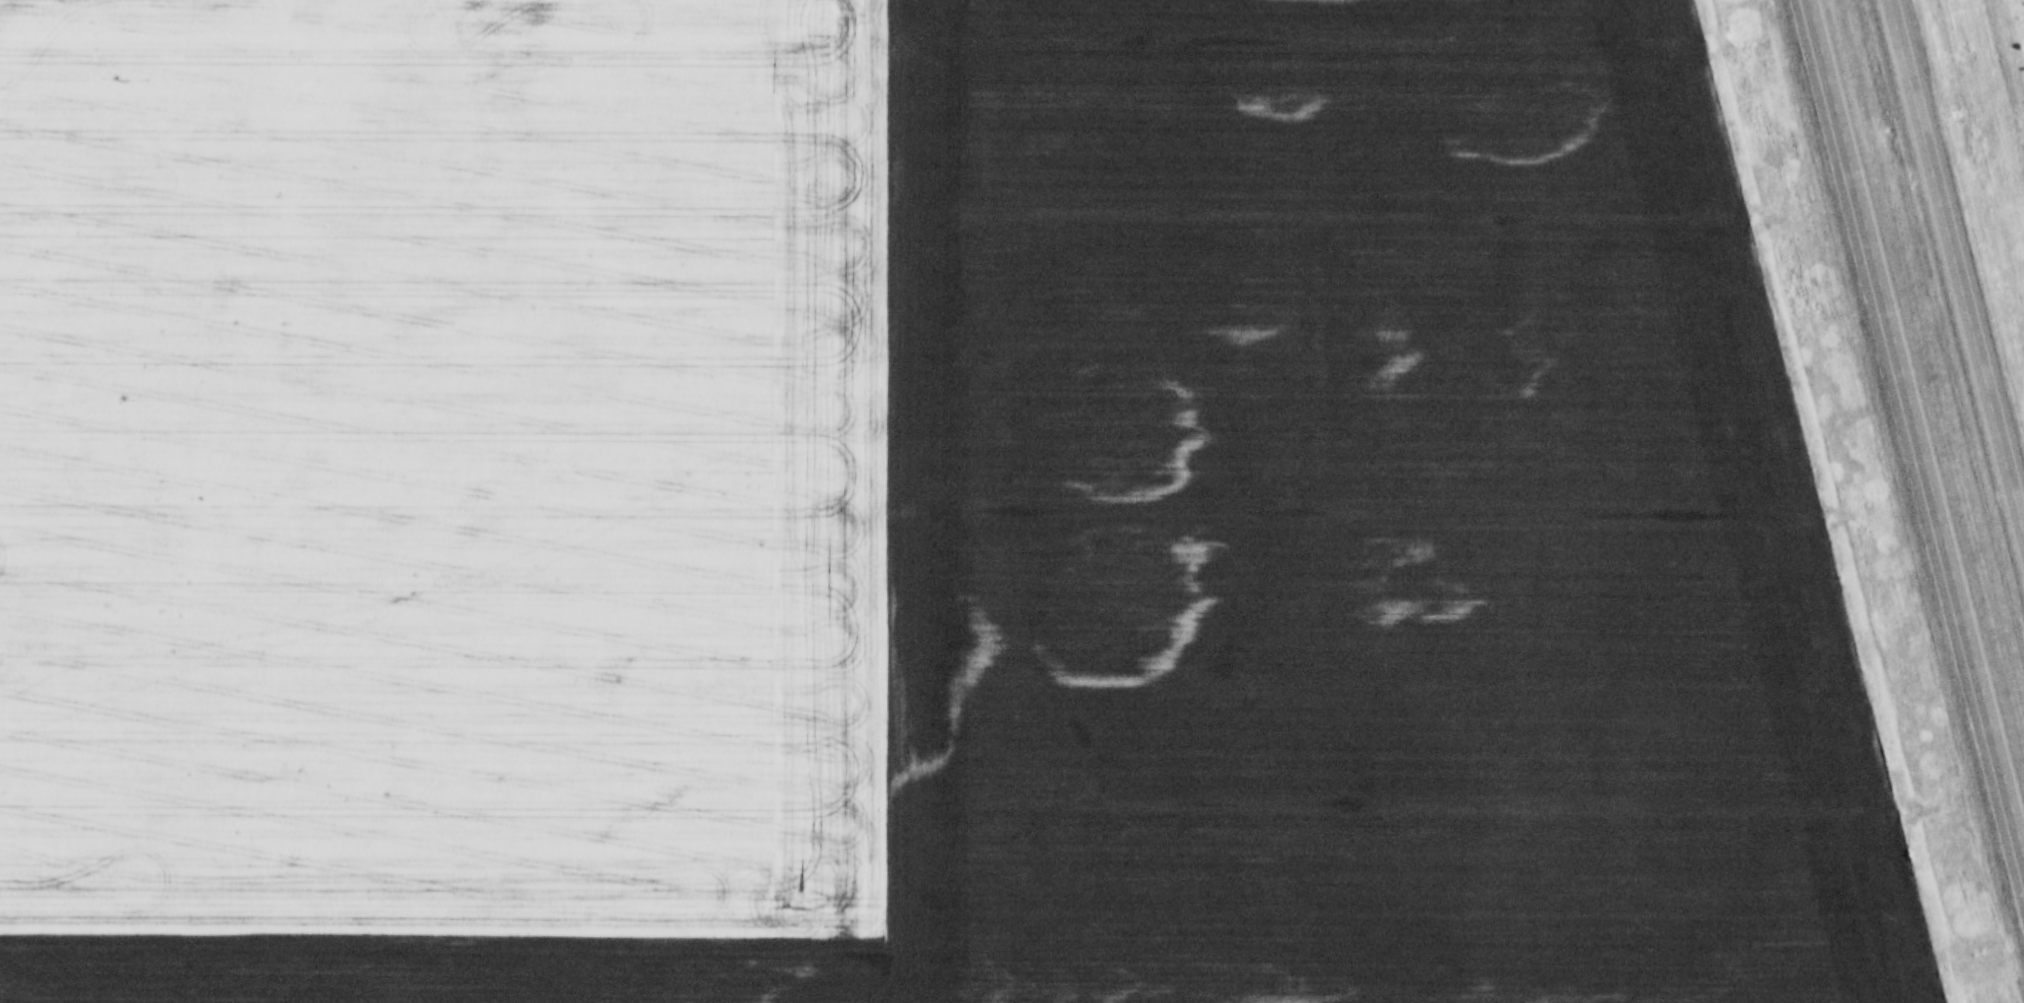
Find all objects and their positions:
road: (1956, 264)
road: (1916, 431)

